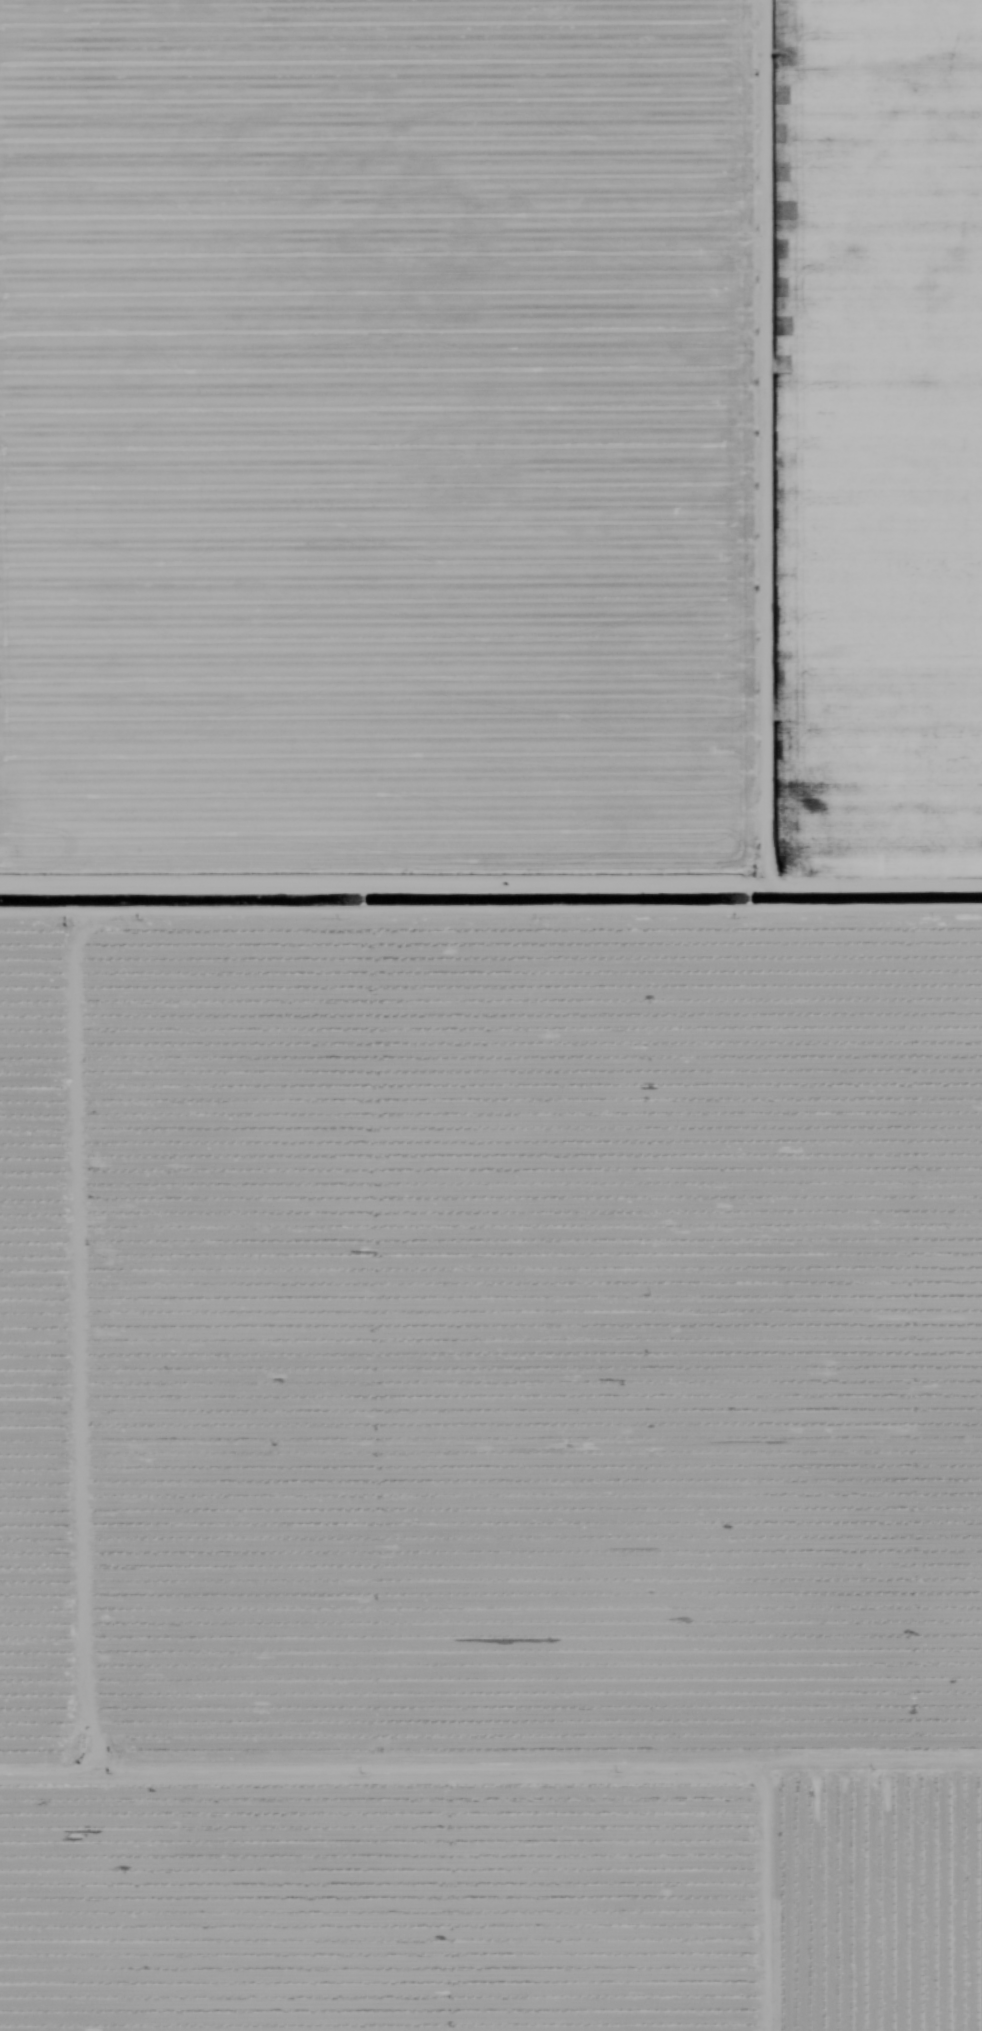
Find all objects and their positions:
road: (491, 1765)

